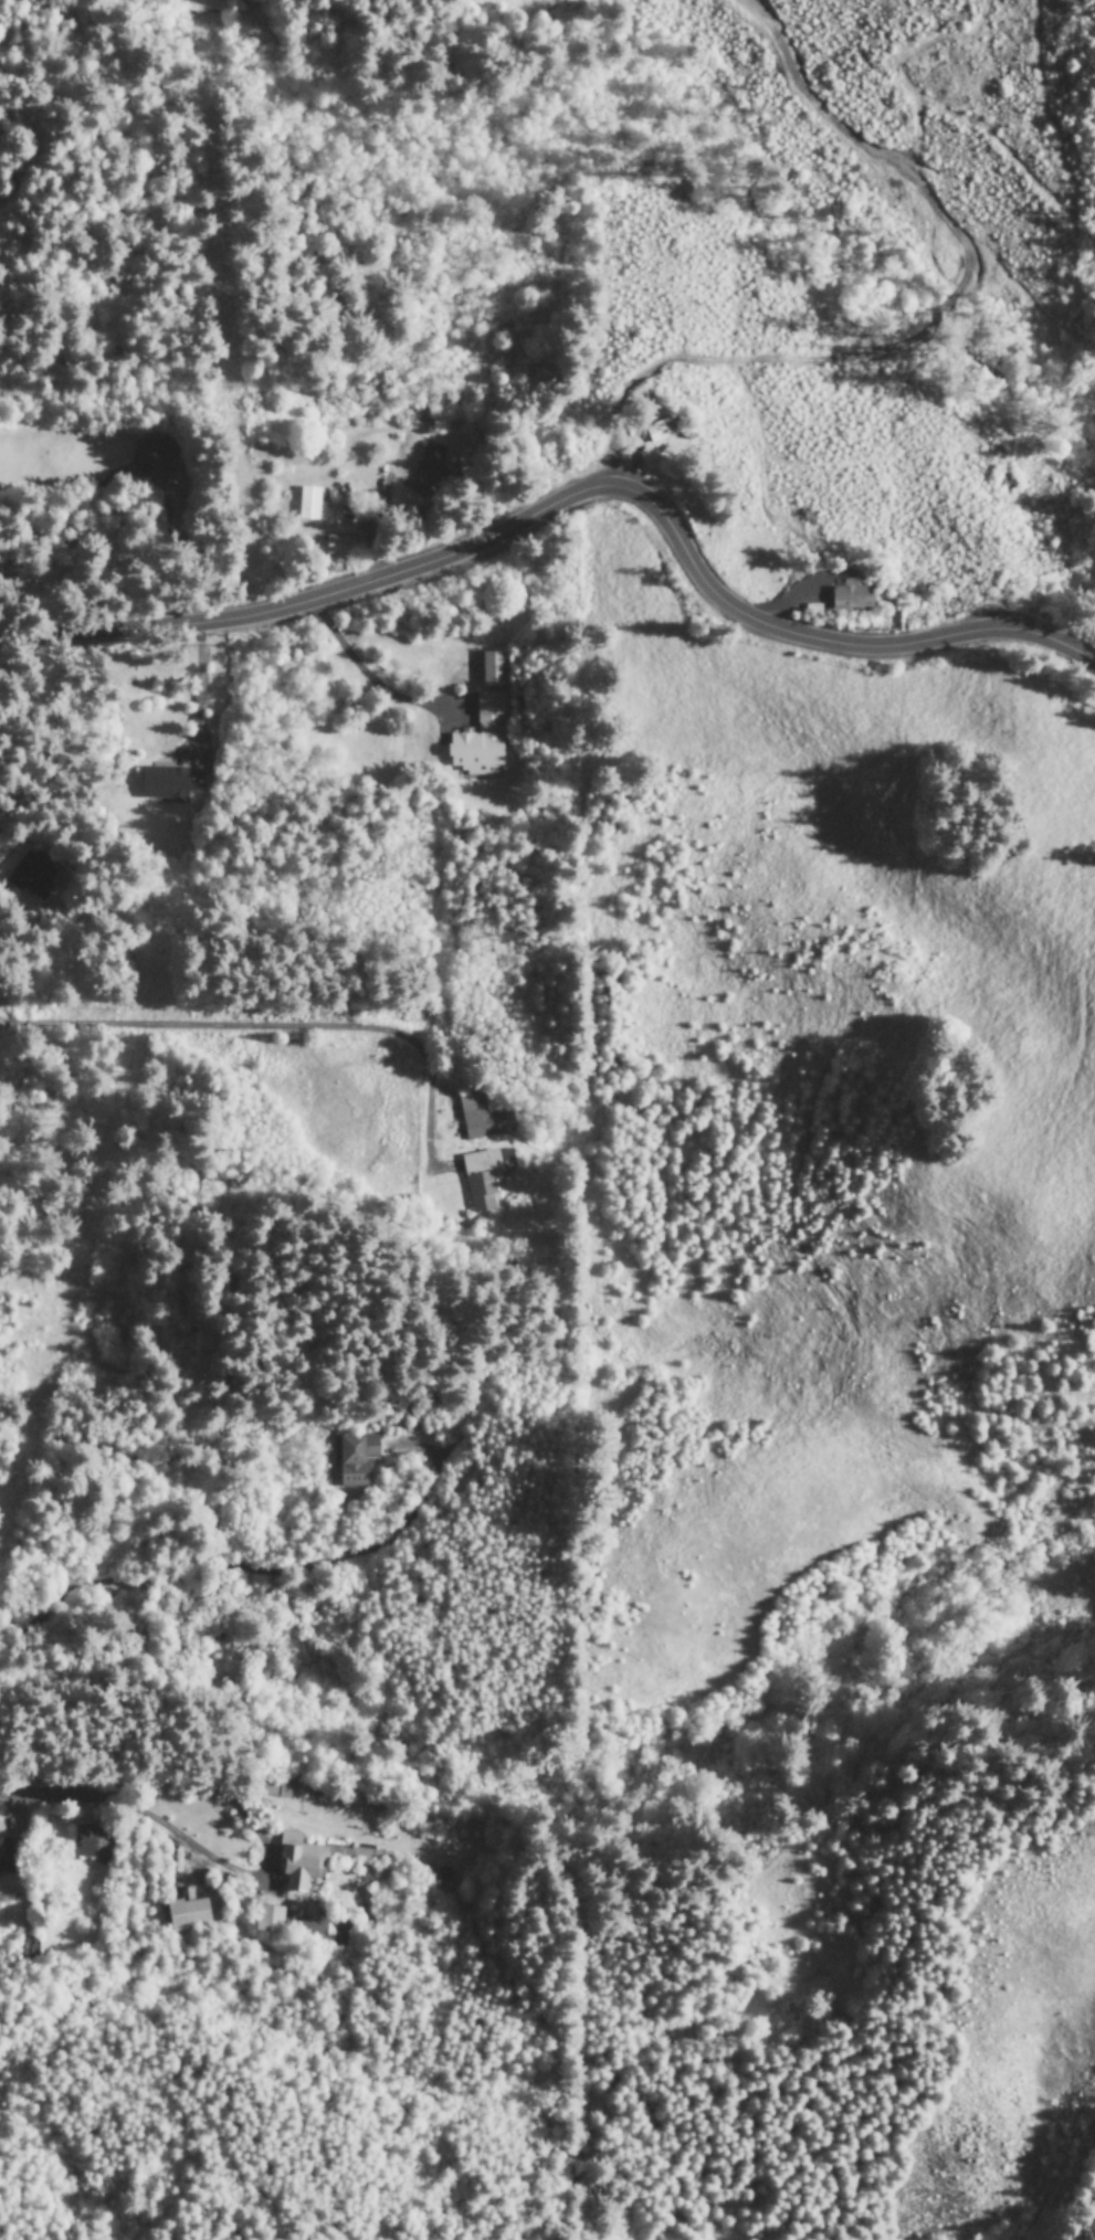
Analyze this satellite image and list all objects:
building: (660, 431)
building: (151, 458)
building: (428, 471)
road: (573, 495)
building: (307, 504)
building: (337, 546)
building: (850, 596)
building: (492, 669)
building: (480, 738)
building: (161, 785)
building: (27, 875)
road: (4, 926)
road: (194, 1033)
building: (481, 1119)
building: (484, 1177)
building: (352, 1460)
building: (276, 1786)
road: (53, 1797)
building: (83, 1842)
building: (7, 1857)
building: (298, 1863)
building: (187, 1914)
building: (266, 1921)
building: (340, 1936)

